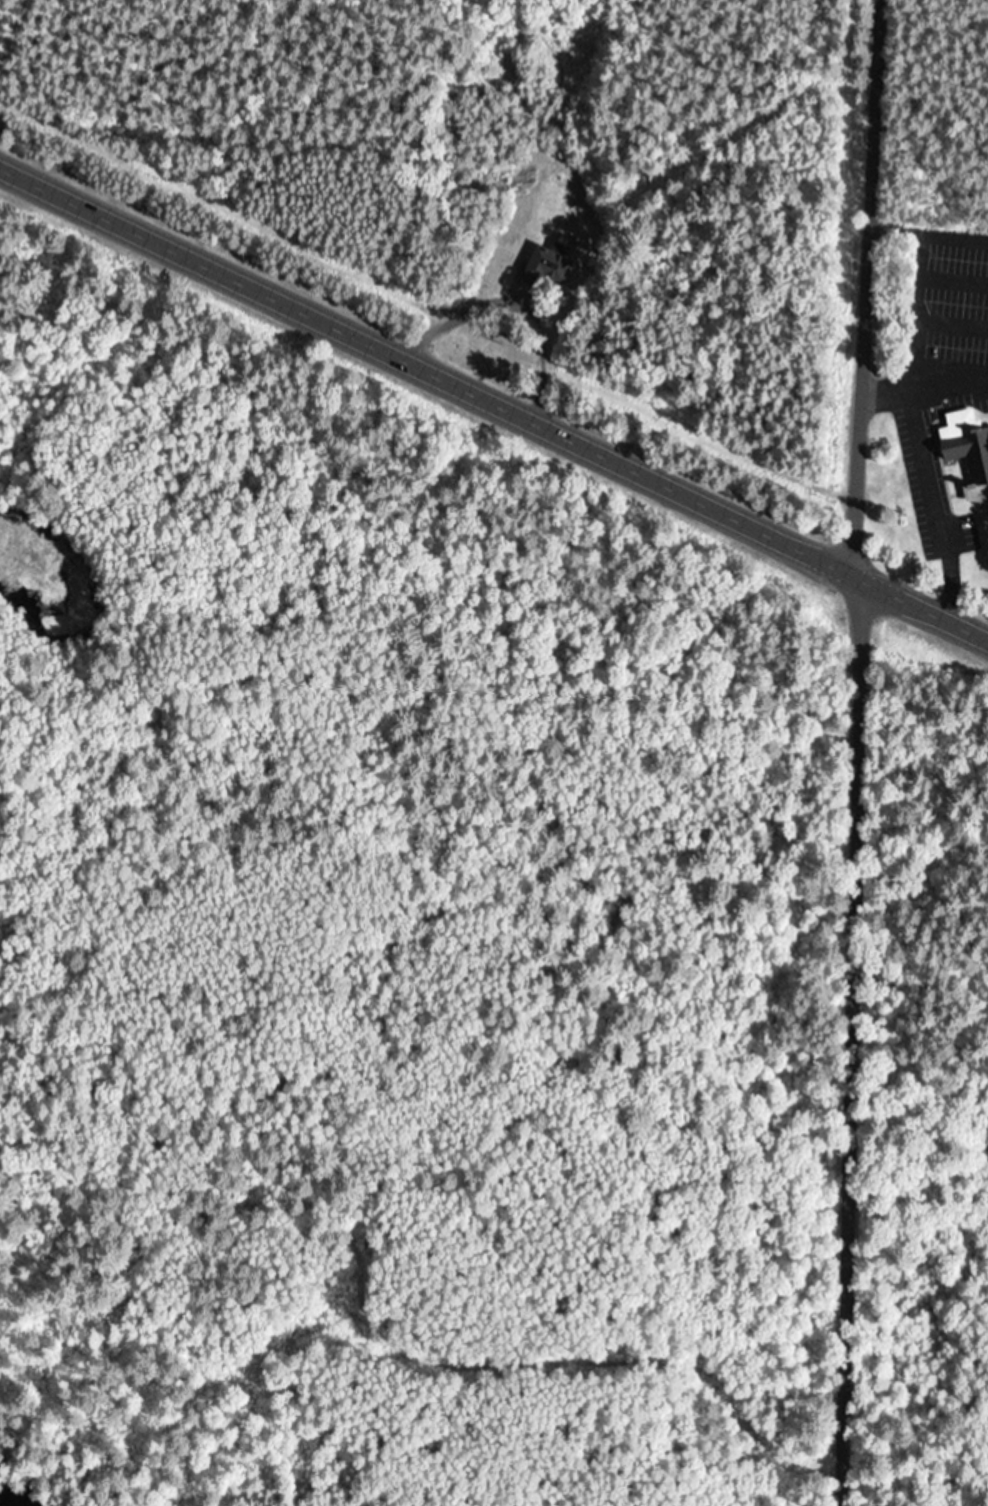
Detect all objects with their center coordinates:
building: (549, 265)
road: (864, 284)
road: (494, 398)
building: (964, 448)
road: (846, 1037)

